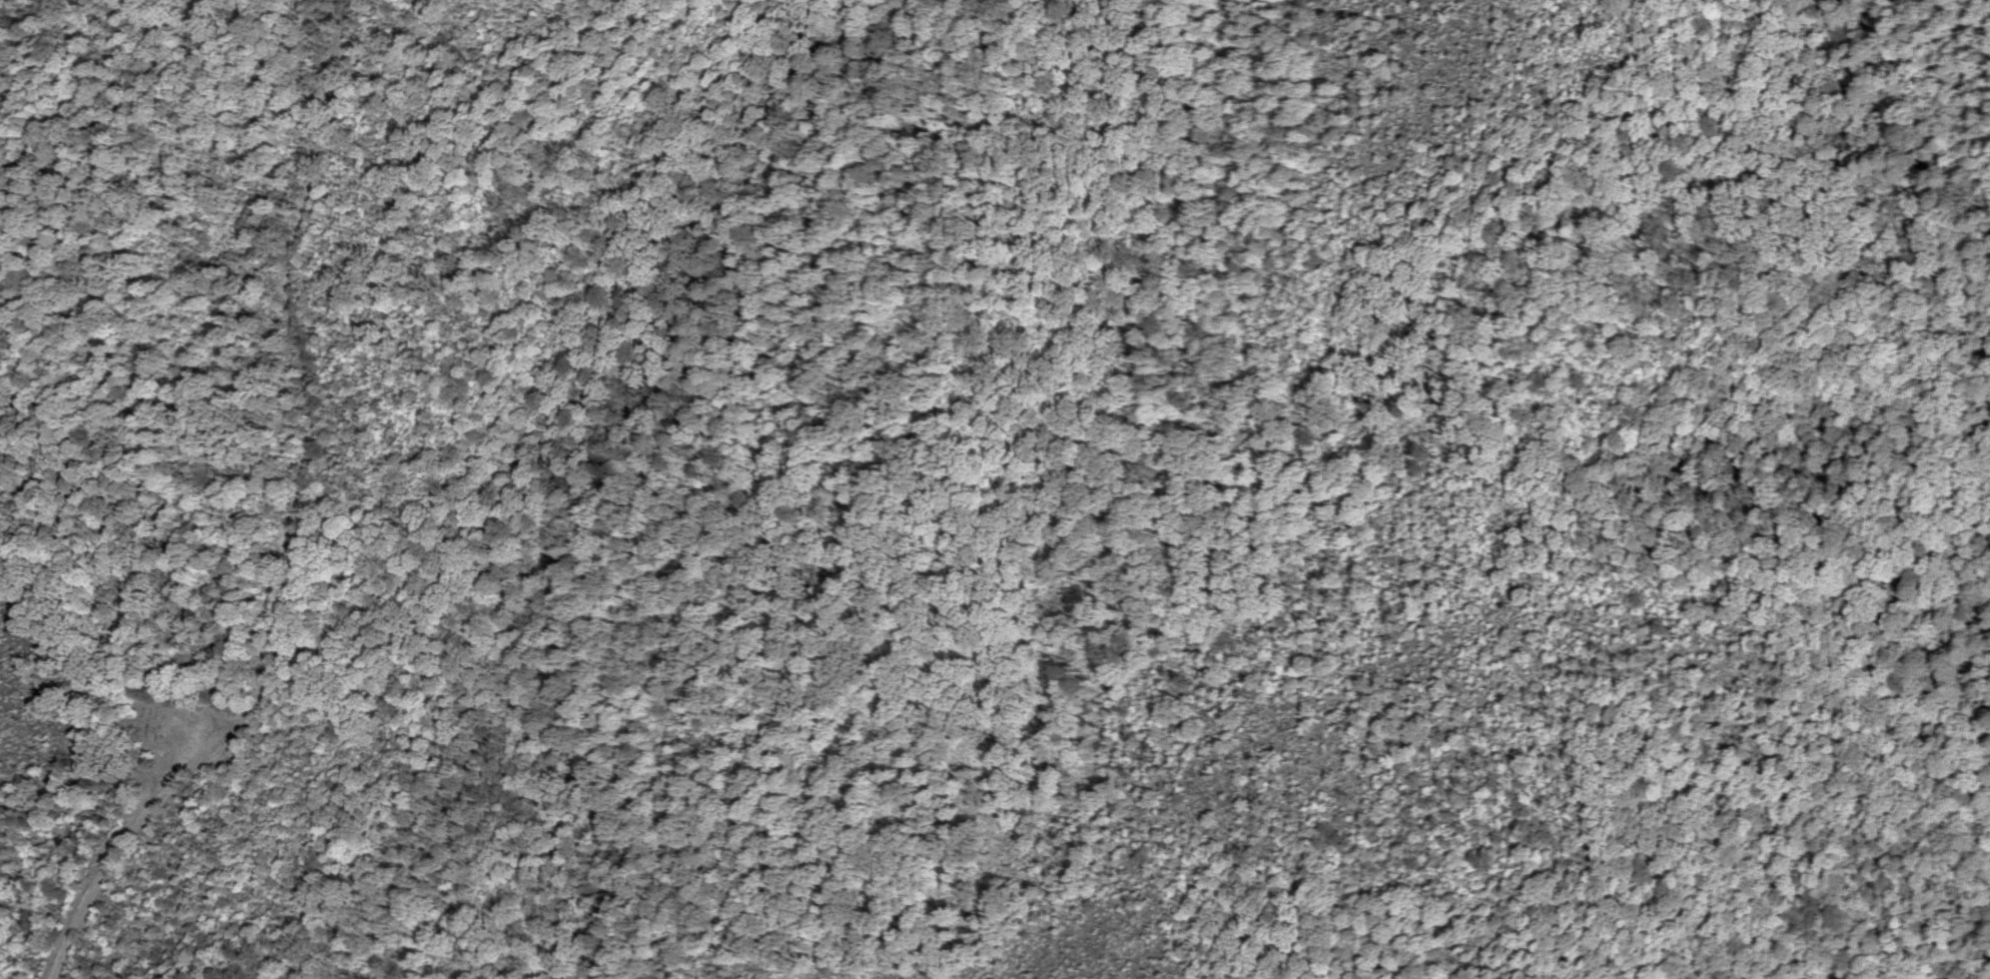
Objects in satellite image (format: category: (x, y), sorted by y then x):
road: (295, 523)
park: (166, 724)

